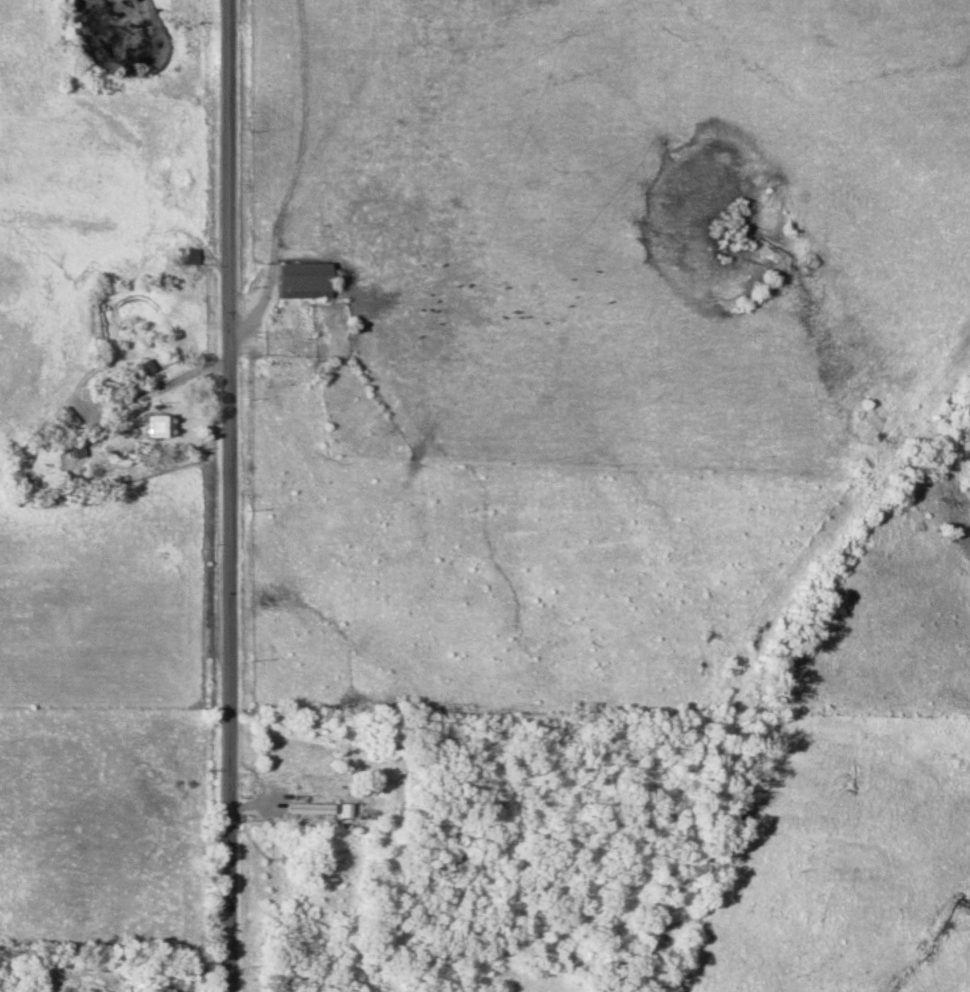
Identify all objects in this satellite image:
building: (190, 257)
building: (302, 278)
building: (159, 425)
road: (228, 496)

